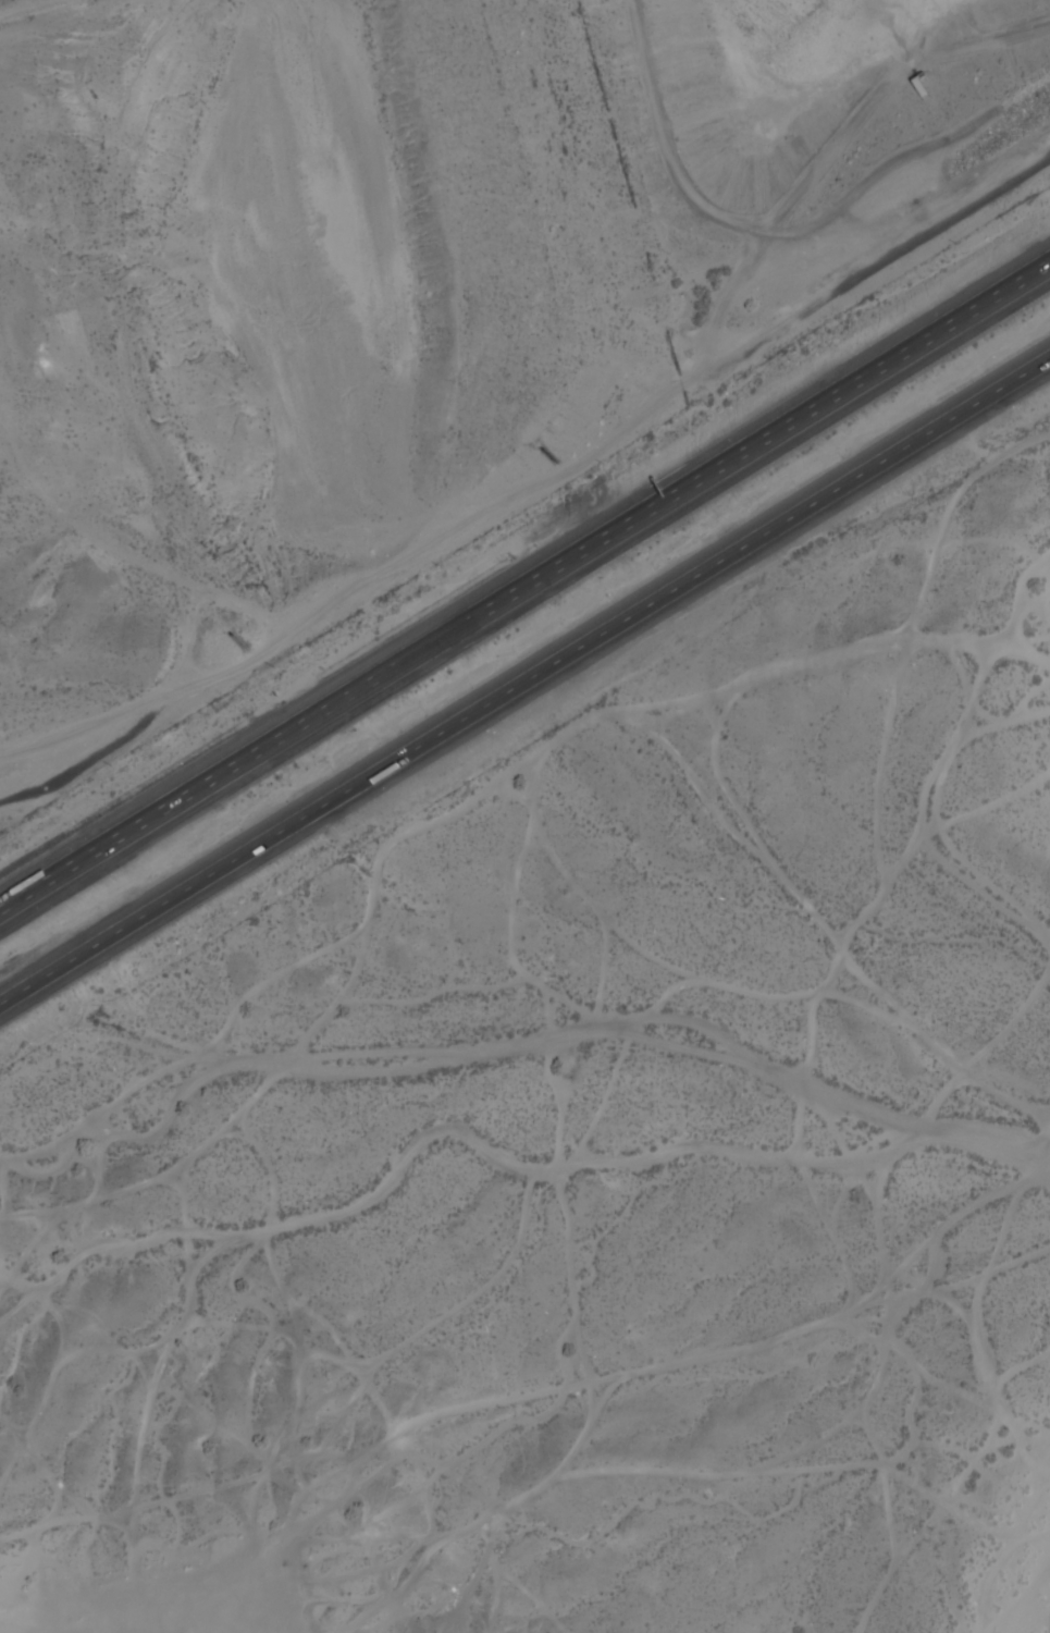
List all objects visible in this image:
road: (528, 482)
road: (524, 579)
road: (524, 683)

